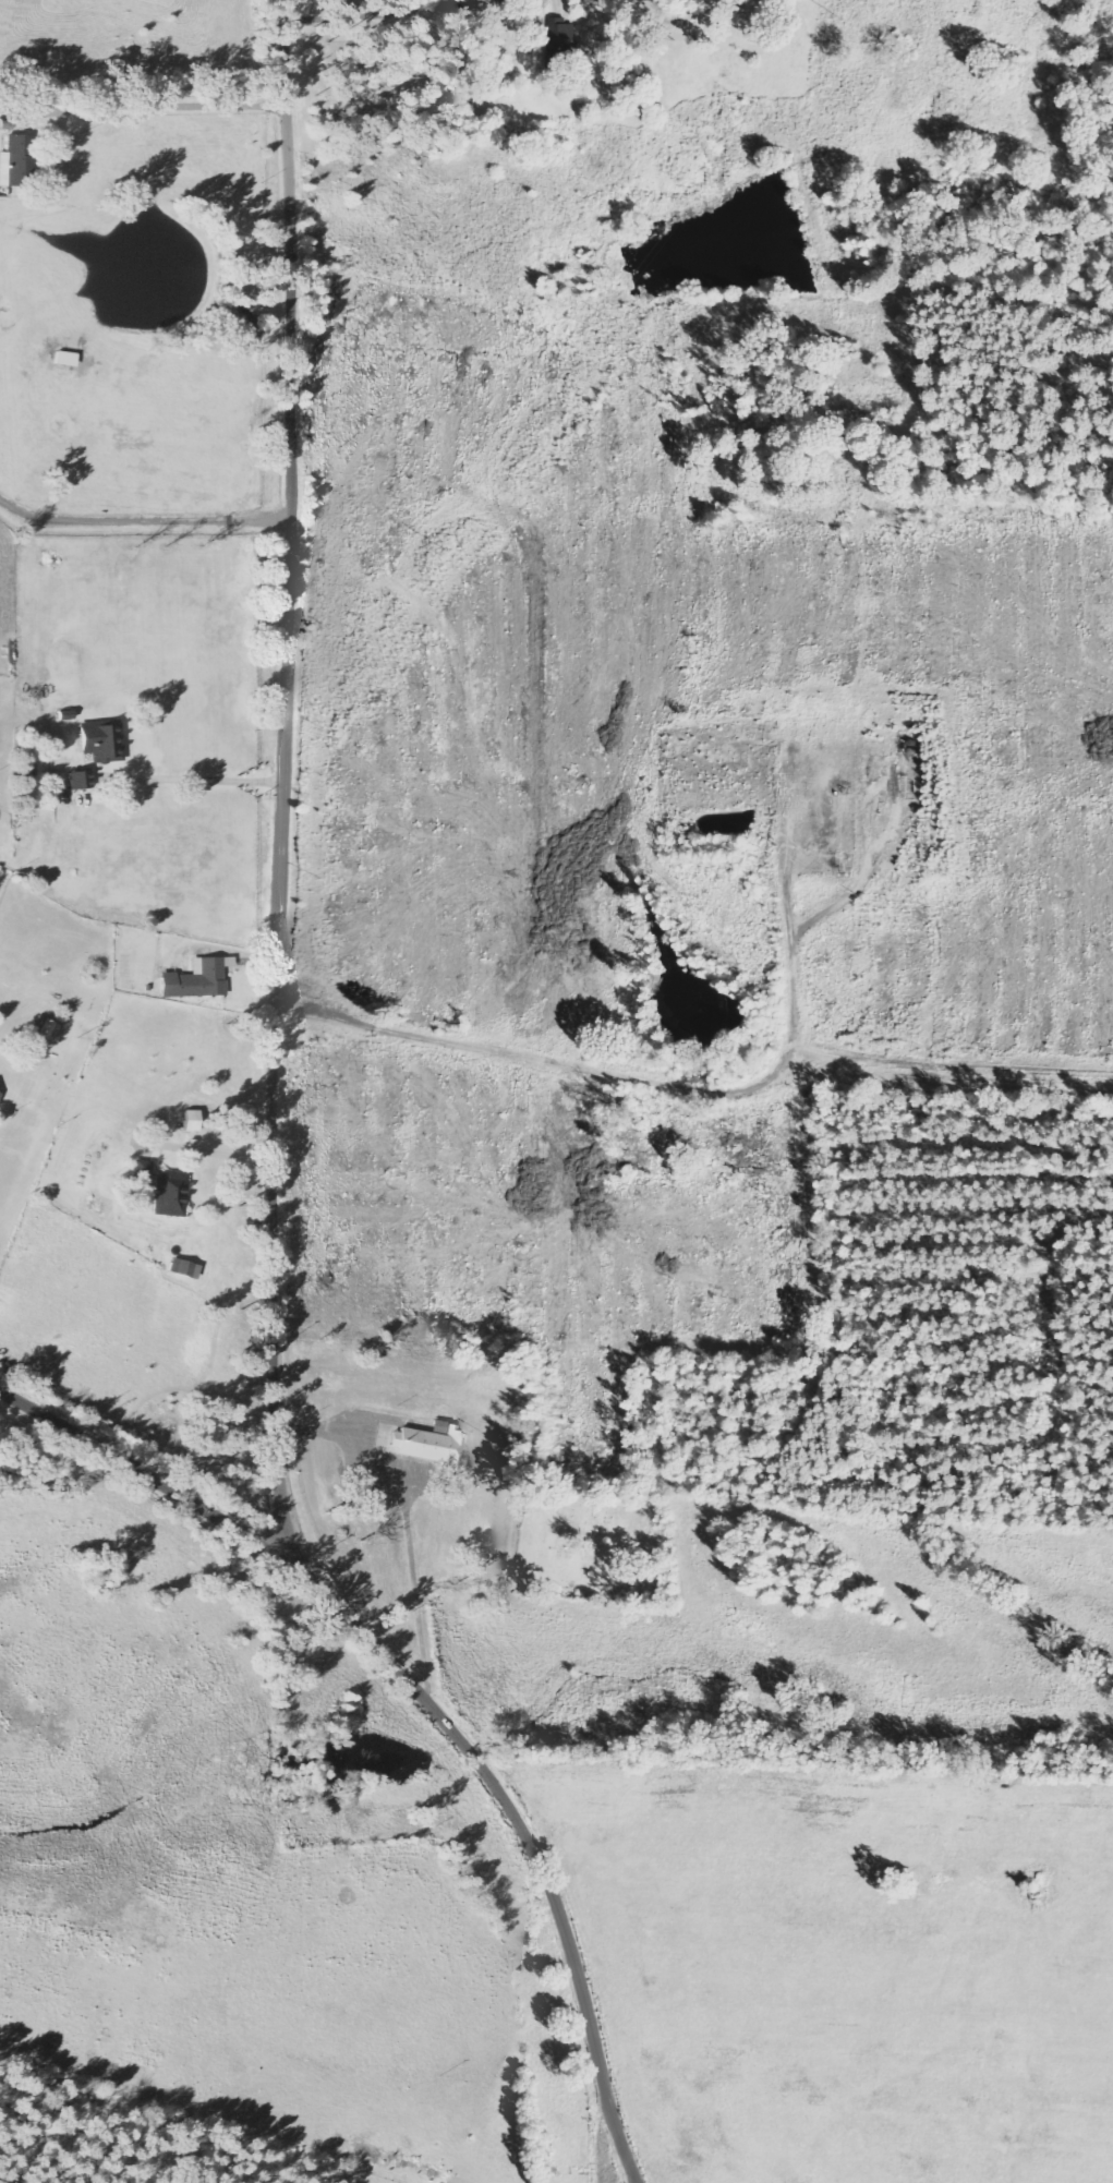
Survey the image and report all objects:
building: (562, 46)
building: (17, 162)
building: (68, 360)
road: (255, 507)
building: (104, 743)
building: (81, 780)
building: (202, 979)
building: (46, 1029)
building: (1, 1096)
building: (192, 1121)
building: (144, 1170)
building: (171, 1195)
building: (181, 1267)
road: (255, 1299)
building: (434, 1445)
road: (421, 1700)
road: (618, 2139)

